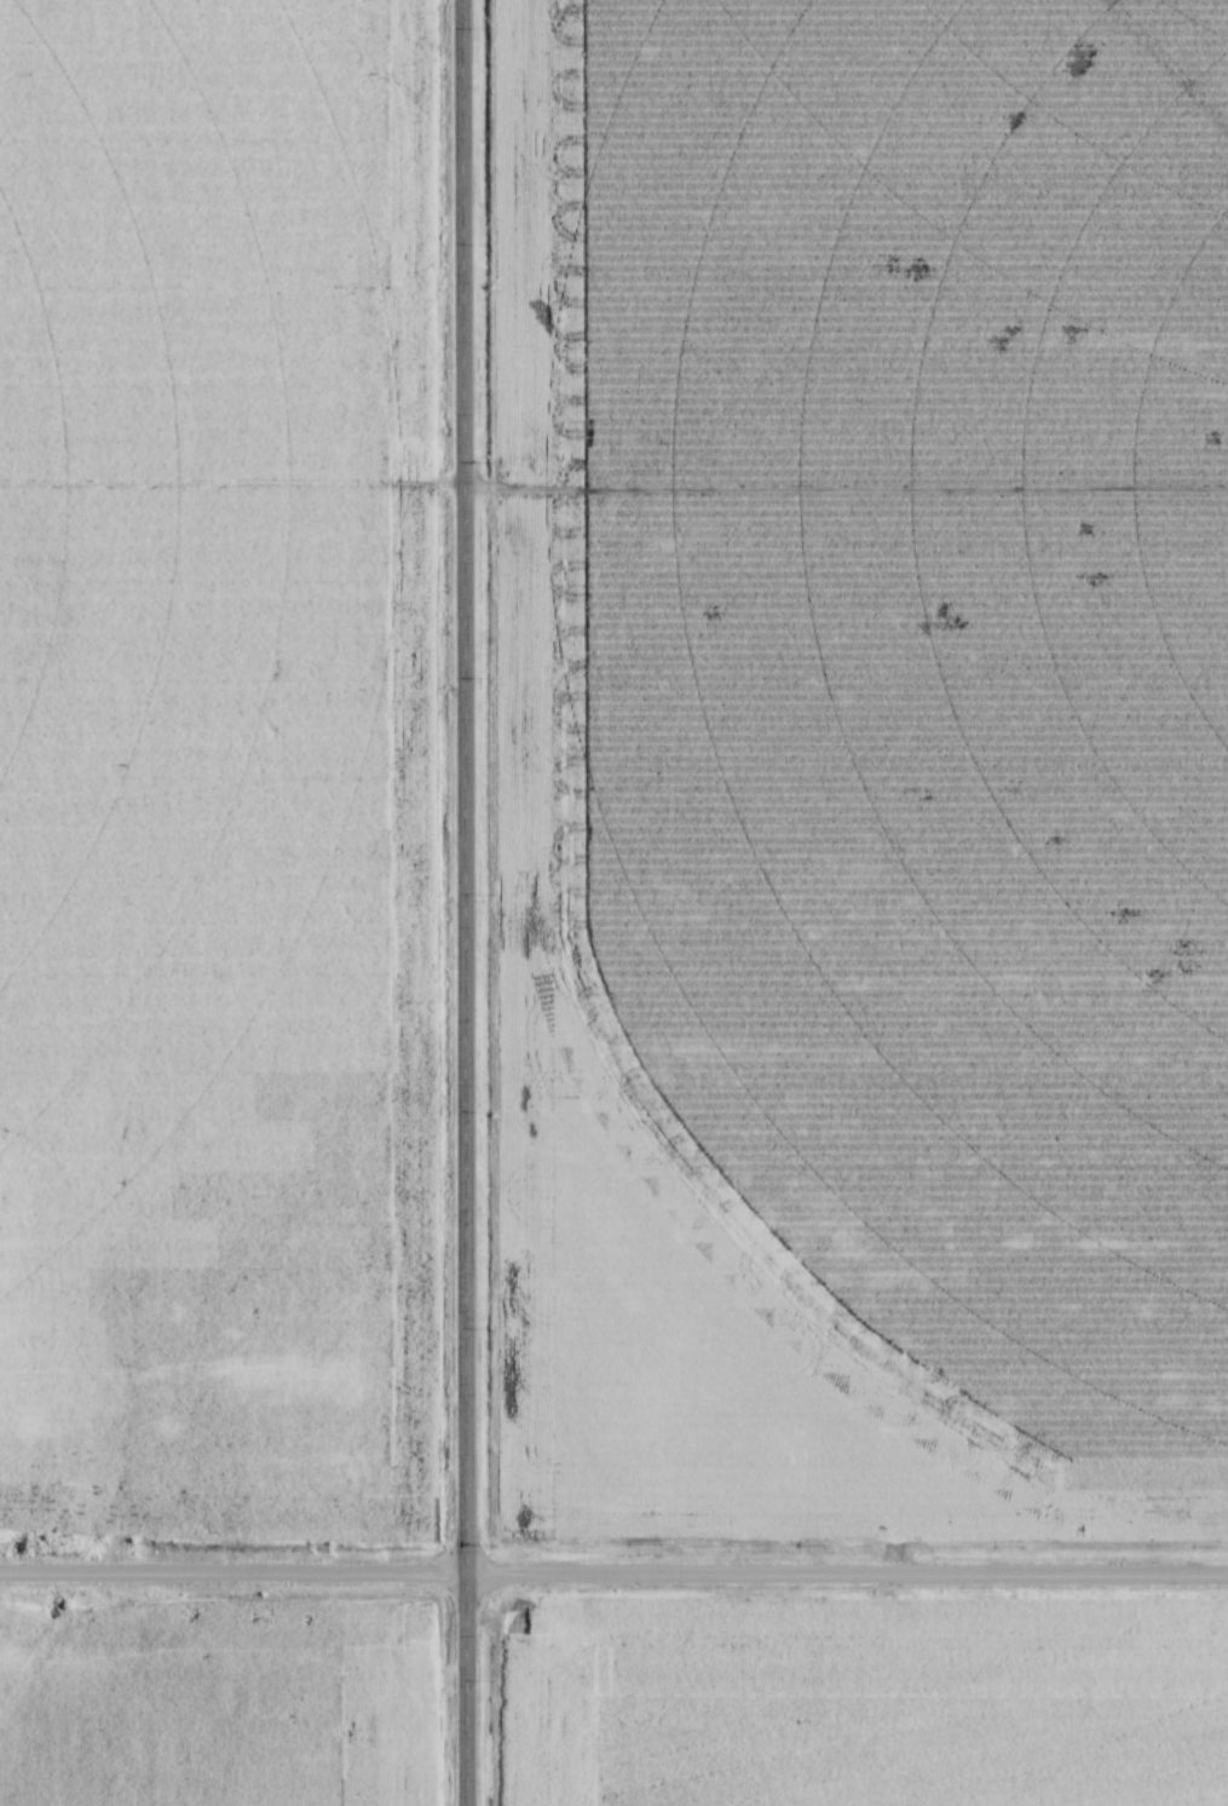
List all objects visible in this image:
crop: (212, 761)
crop: (869, 765)
road: (471, 903)
road: (613, 1574)

